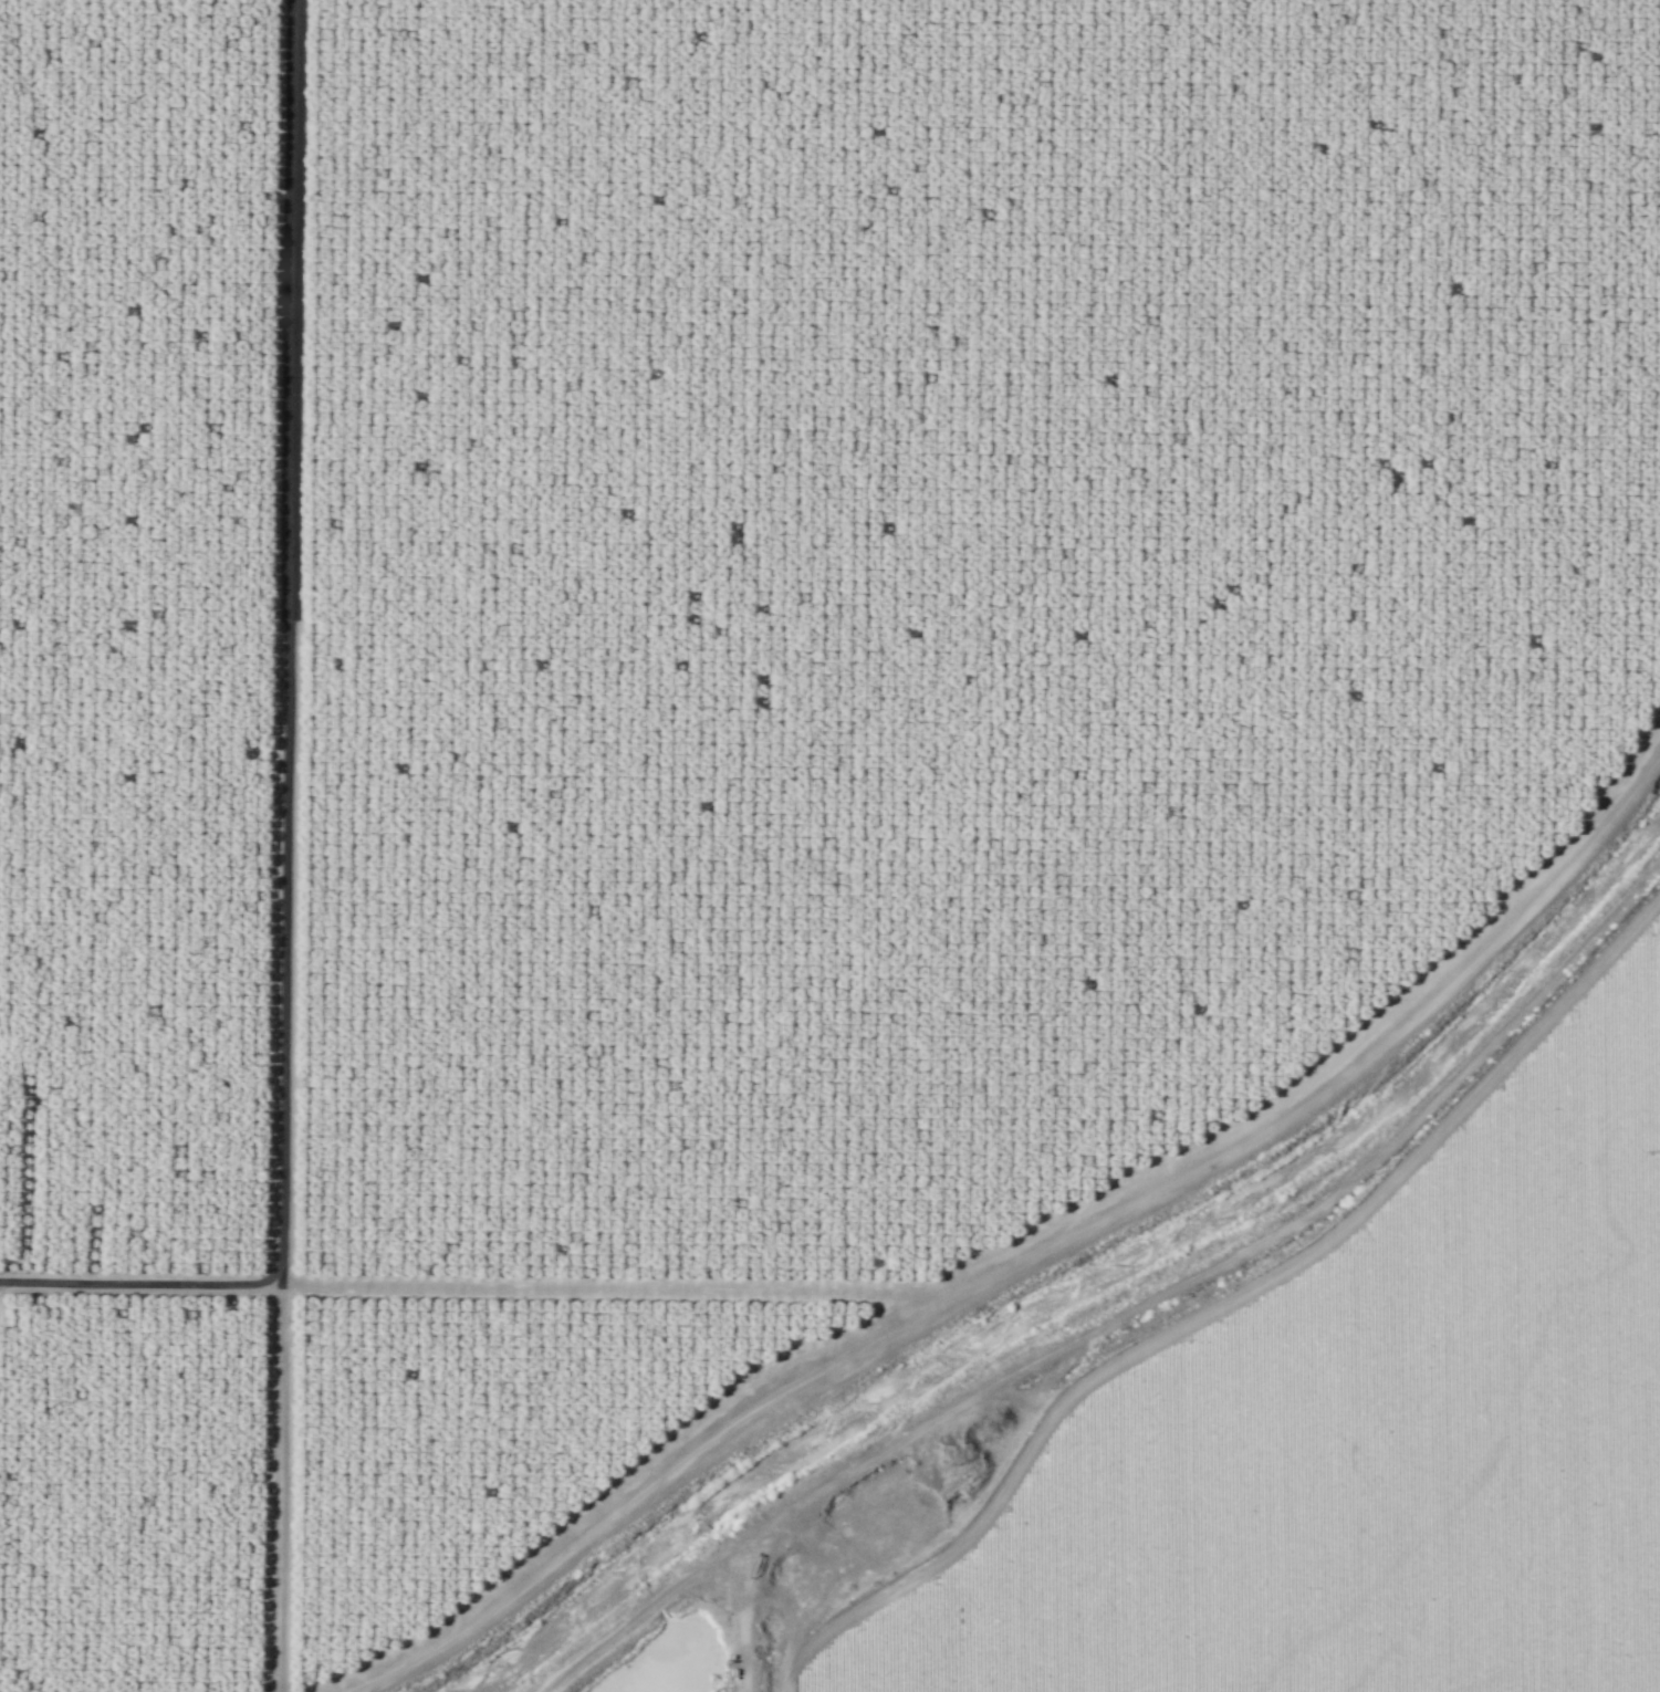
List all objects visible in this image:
road: (283, 846)
road: (1315, 1094)
road: (1301, 1216)
road: (140, 1283)
road: (622, 1287)
road: (801, 1502)
road: (616, 1504)
road: (646, 1612)

